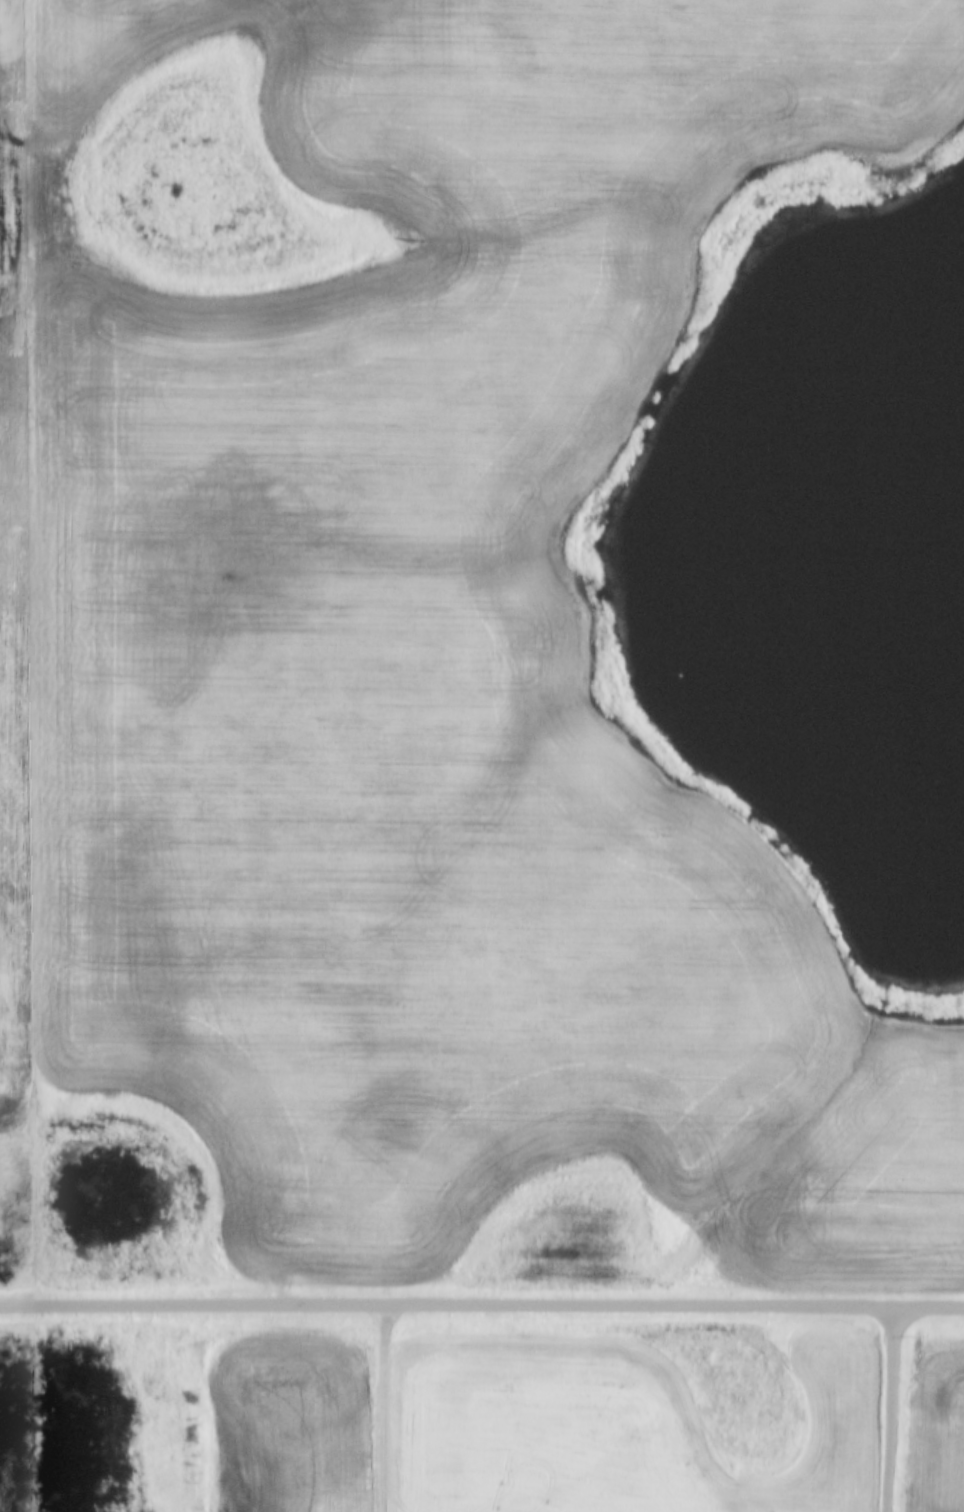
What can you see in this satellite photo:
road: (482, 1308)
road: (389, 1409)
road: (895, 1412)

